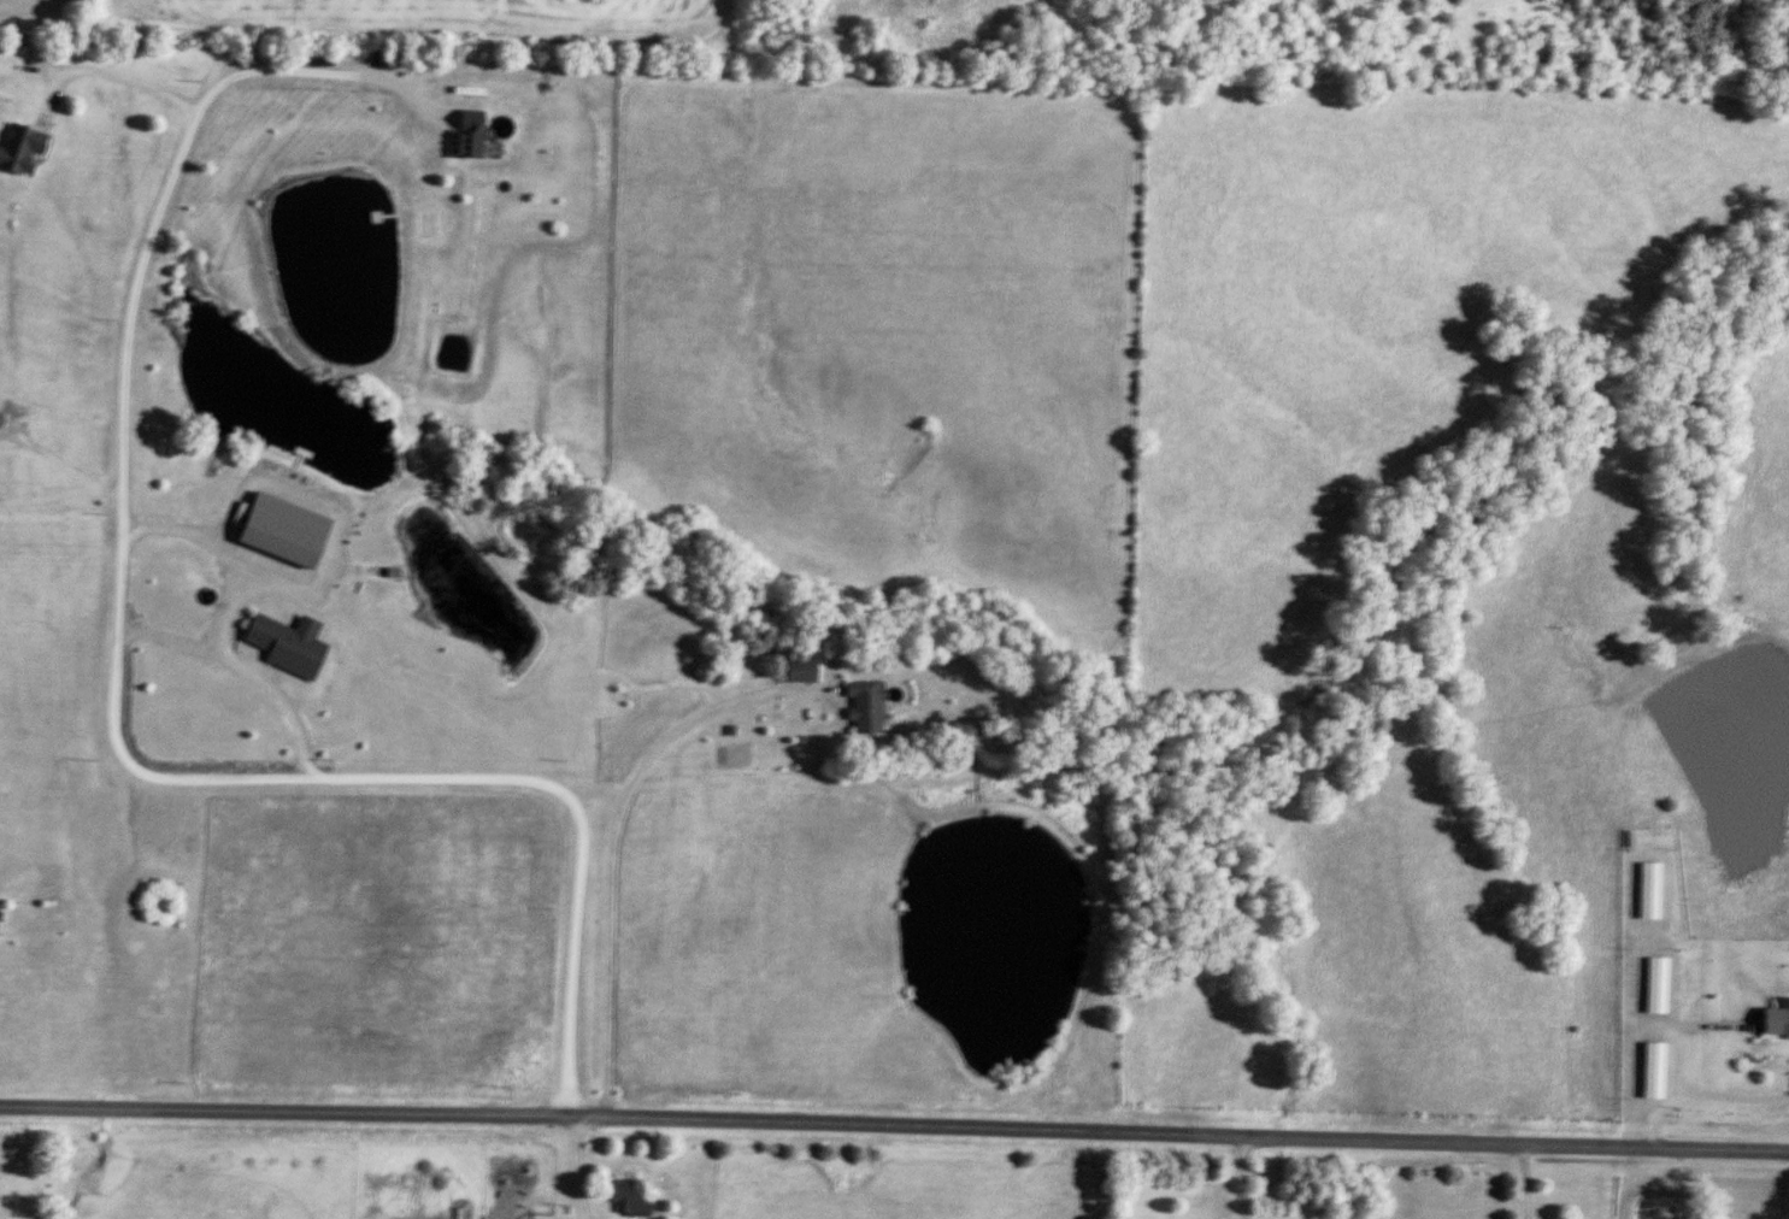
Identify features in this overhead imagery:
road: (320, 72)
road: (100, 75)
building: (478, 134)
building: (23, 149)
road: (46, 457)
road: (60, 493)
building: (288, 530)
road: (217, 554)
building: (292, 644)
building: (805, 670)
road: (241, 671)
building: (866, 706)
road: (170, 781)
road: (607, 847)
building: (0, 913)
building: (1658, 979)
building: (1776, 1019)
road: (1697, 1099)
road: (894, 1124)
road: (571, 1166)
road: (1237, 1176)
road: (1520, 1183)
building: (631, 1197)

